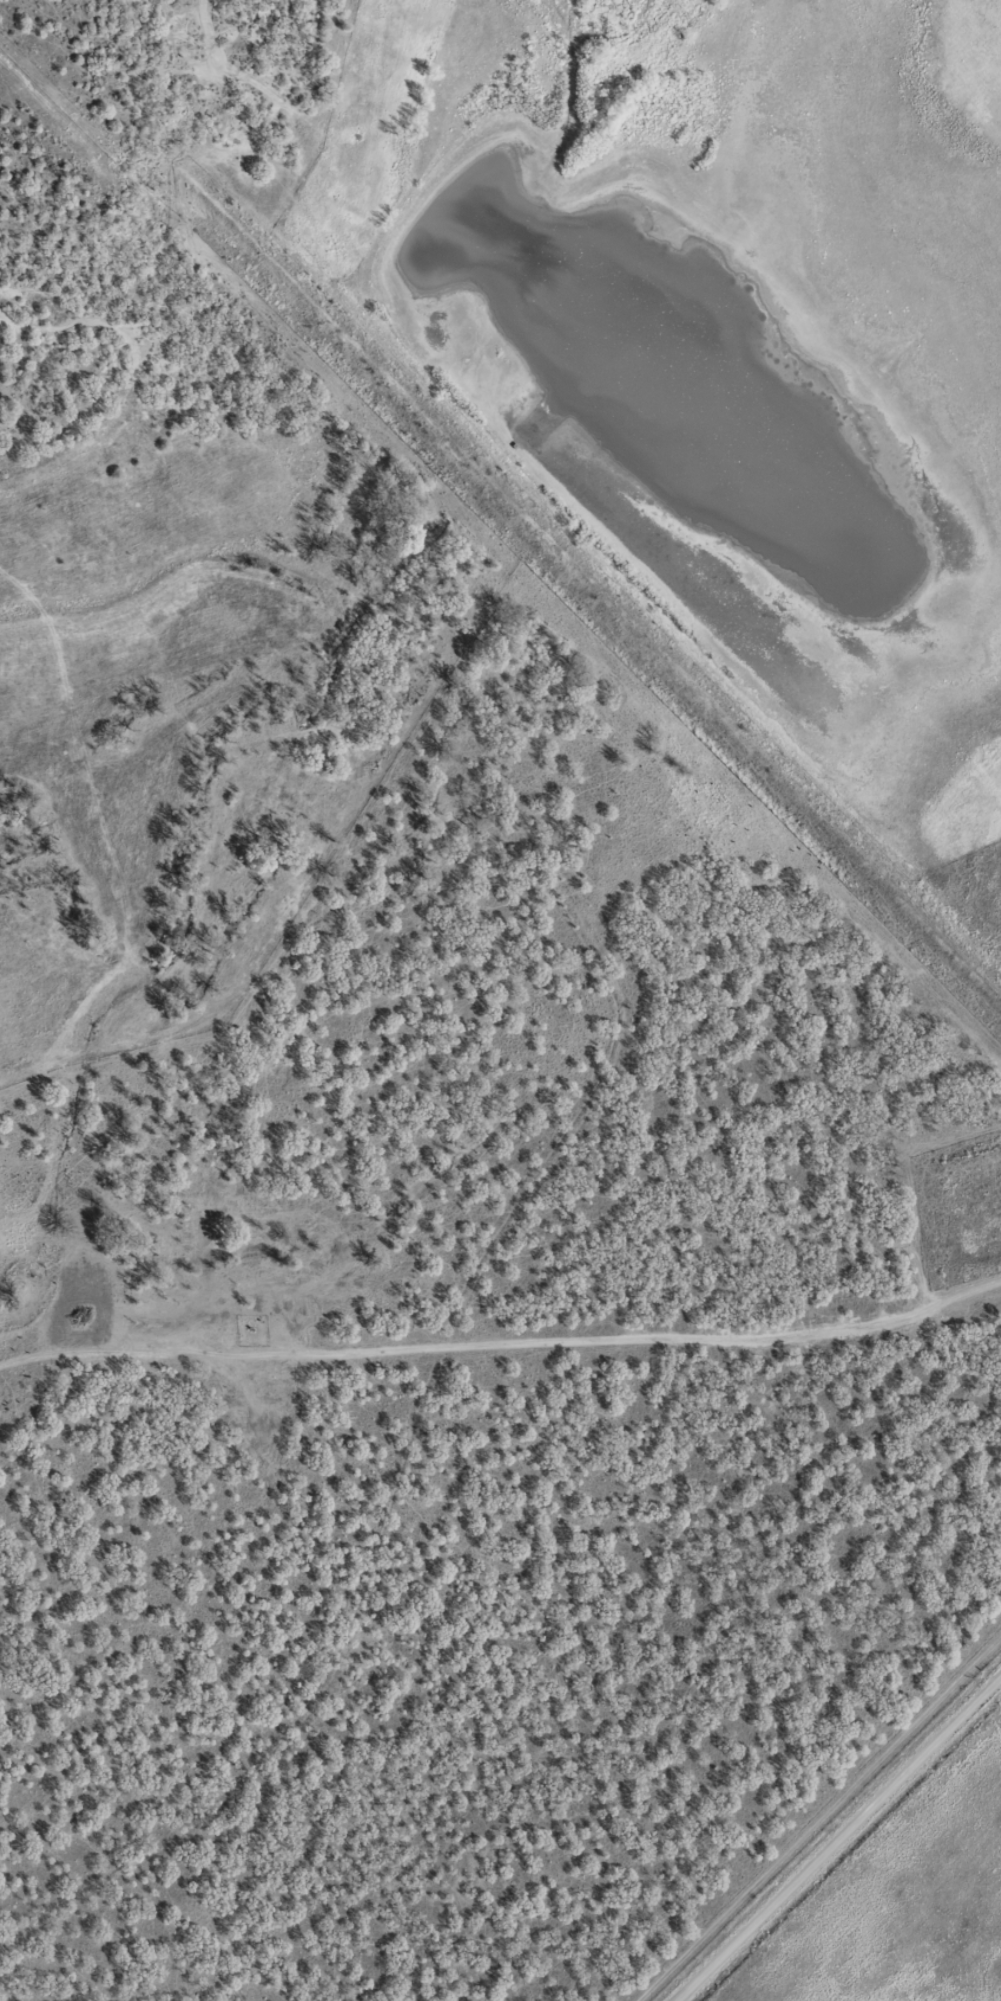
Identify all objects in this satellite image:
road: (843, 1840)

